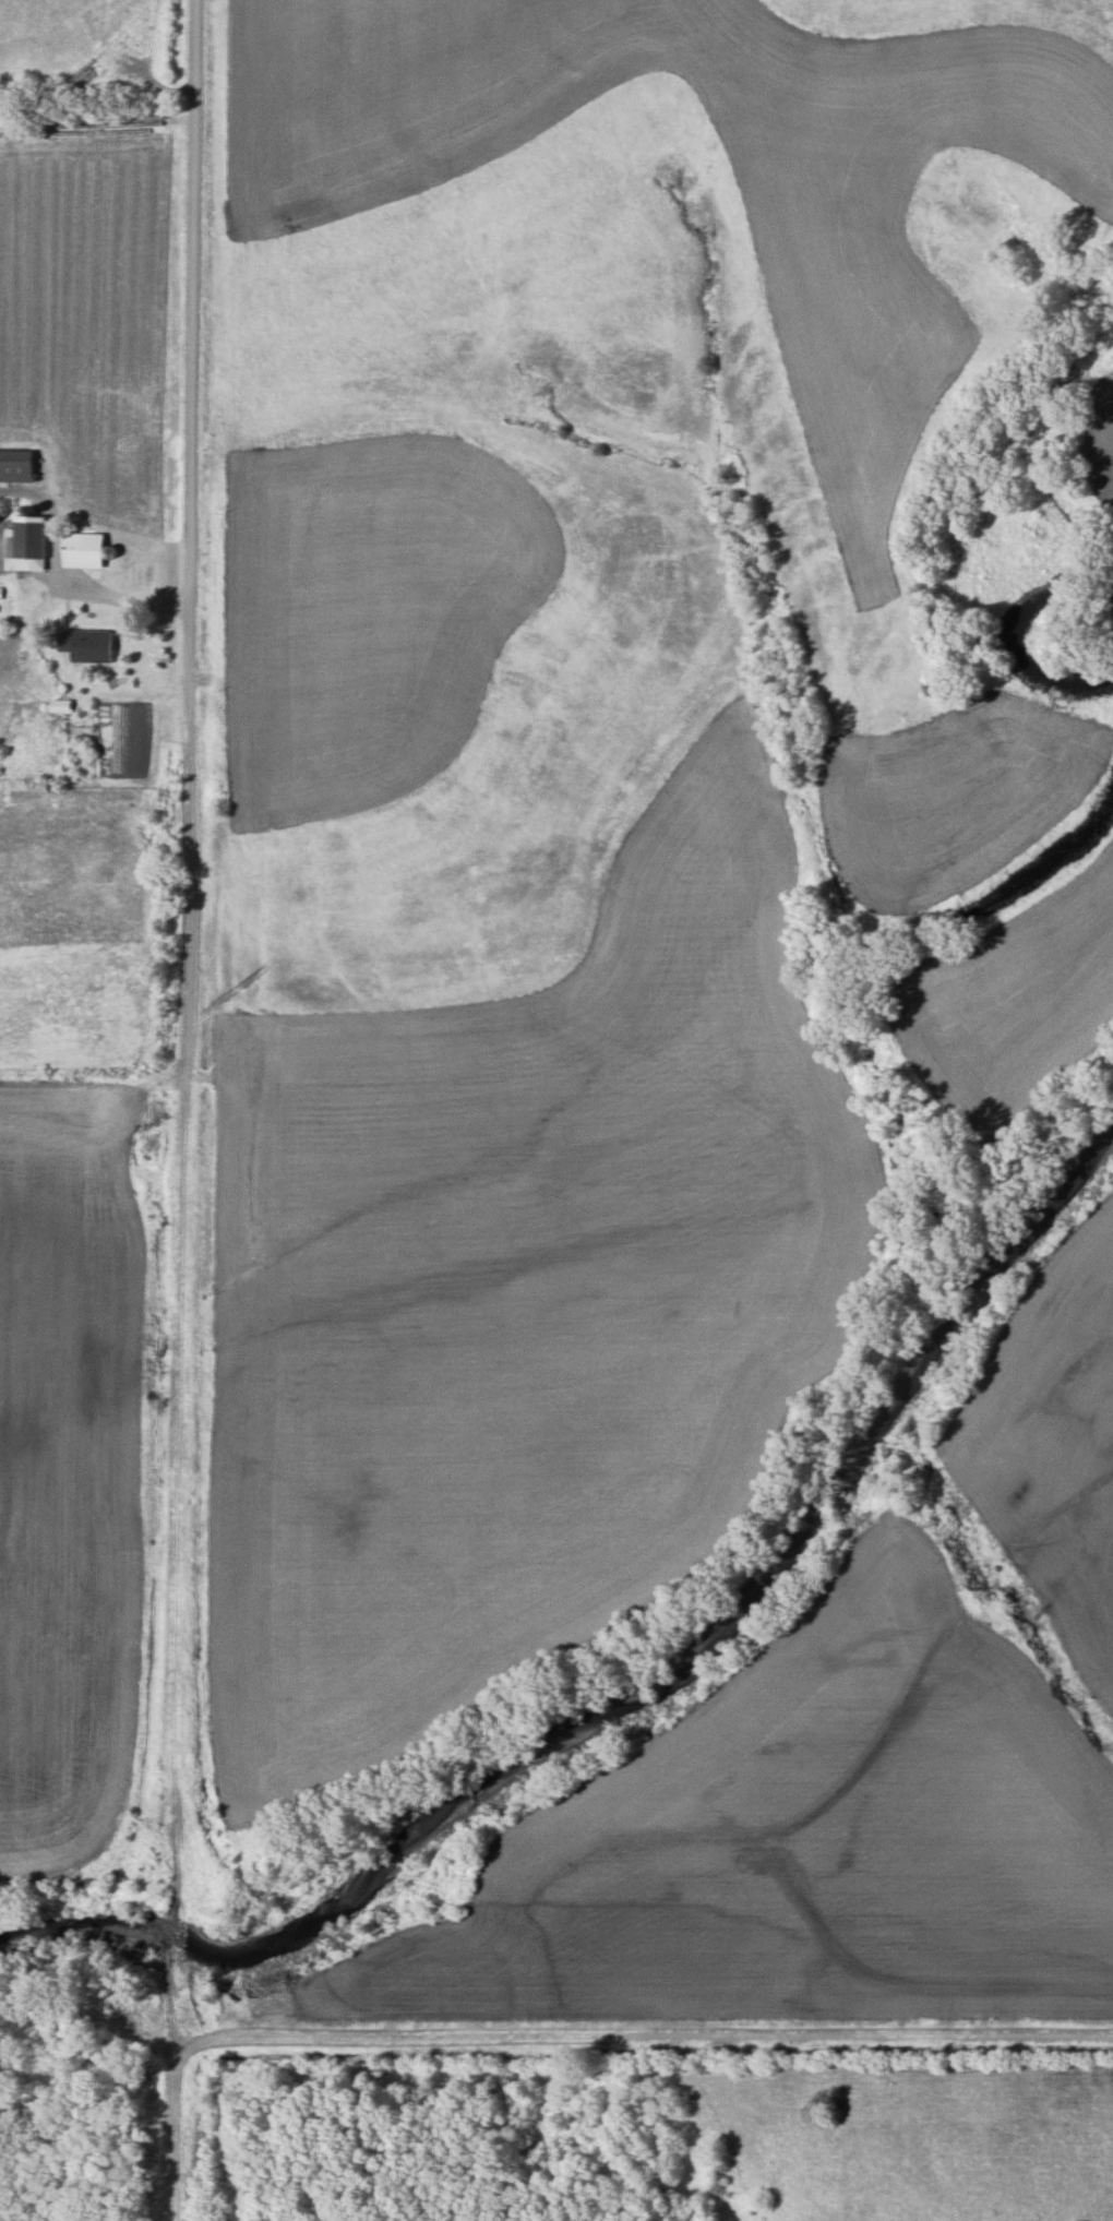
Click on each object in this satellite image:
building: (14, 466)
building: (71, 551)
road: (125, 601)
building: (83, 643)
building: (53, 707)
road: (182, 1110)
road: (642, 2038)

